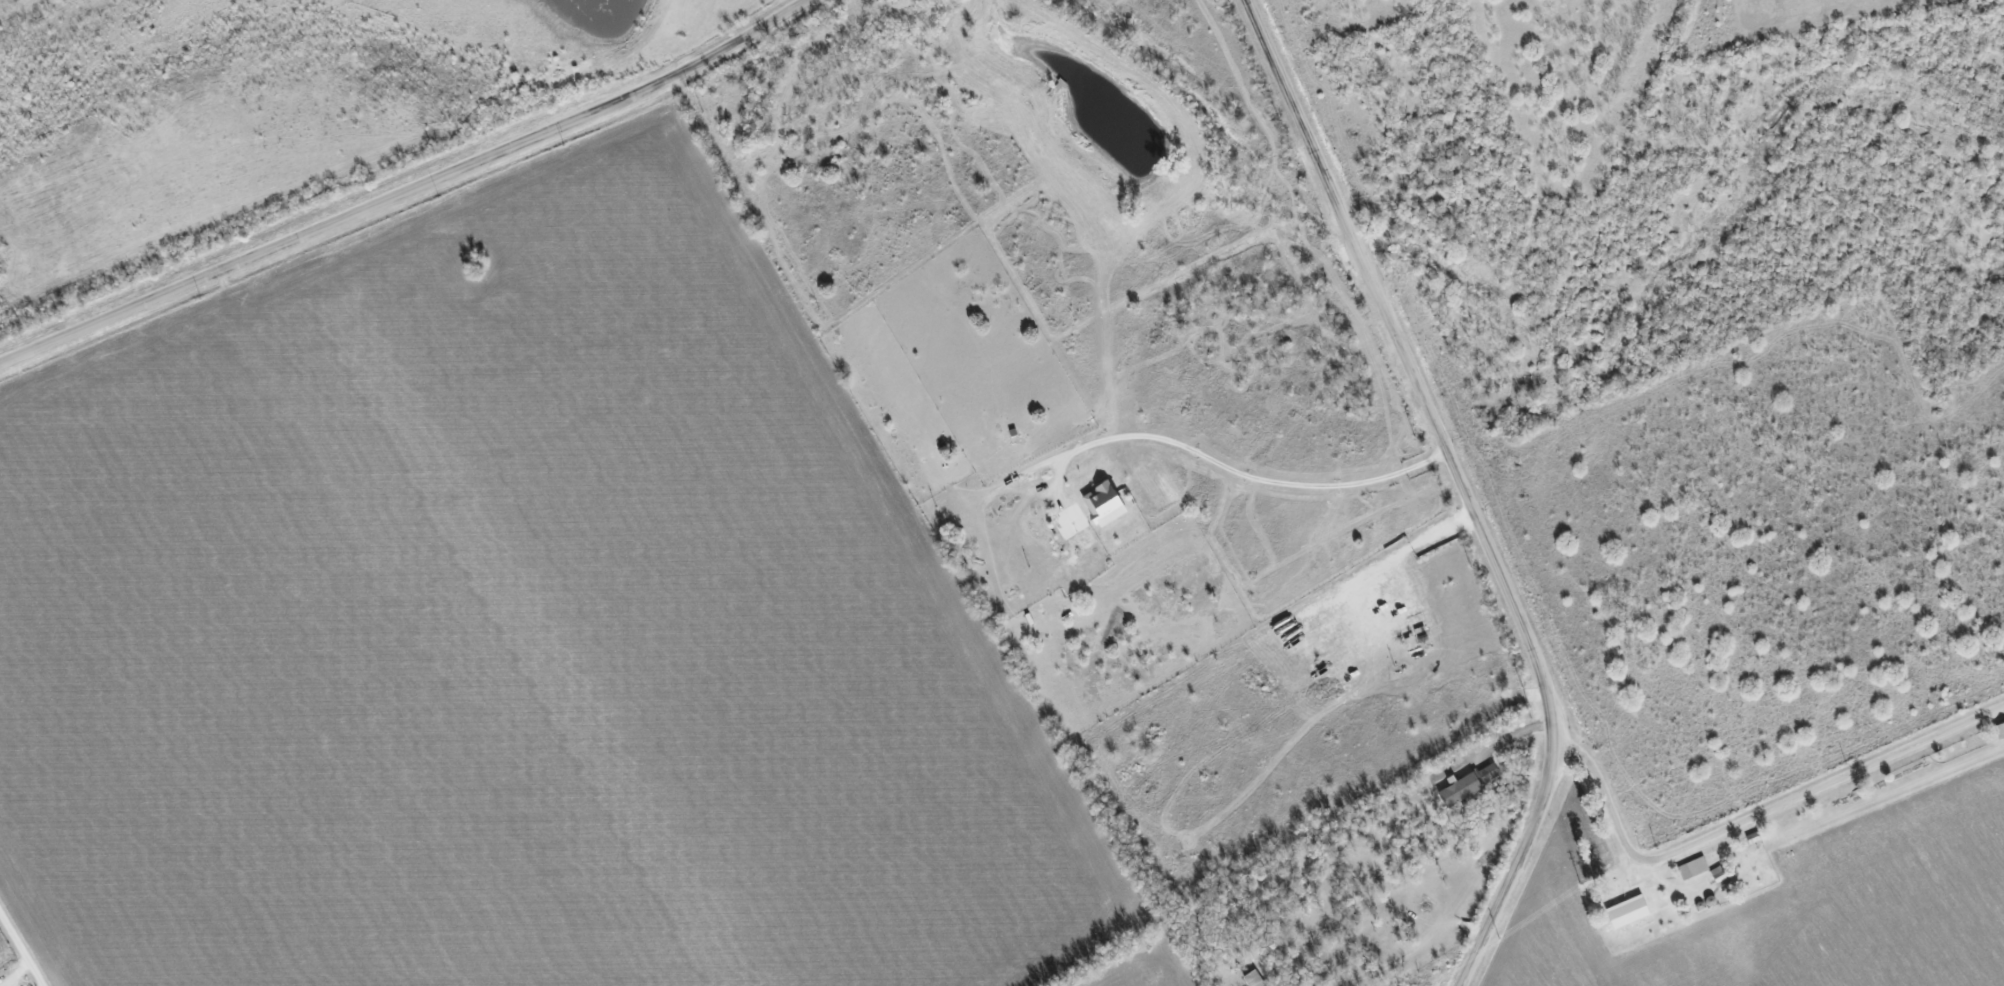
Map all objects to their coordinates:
road: (408, 192)
road: (1251, 483)
road: (1463, 488)
road: (1403, 550)
road: (1492, 747)
building: (1465, 786)
road: (1750, 820)
building: (1690, 868)
building: (1624, 913)
road: (21, 948)
road: (14, 973)

